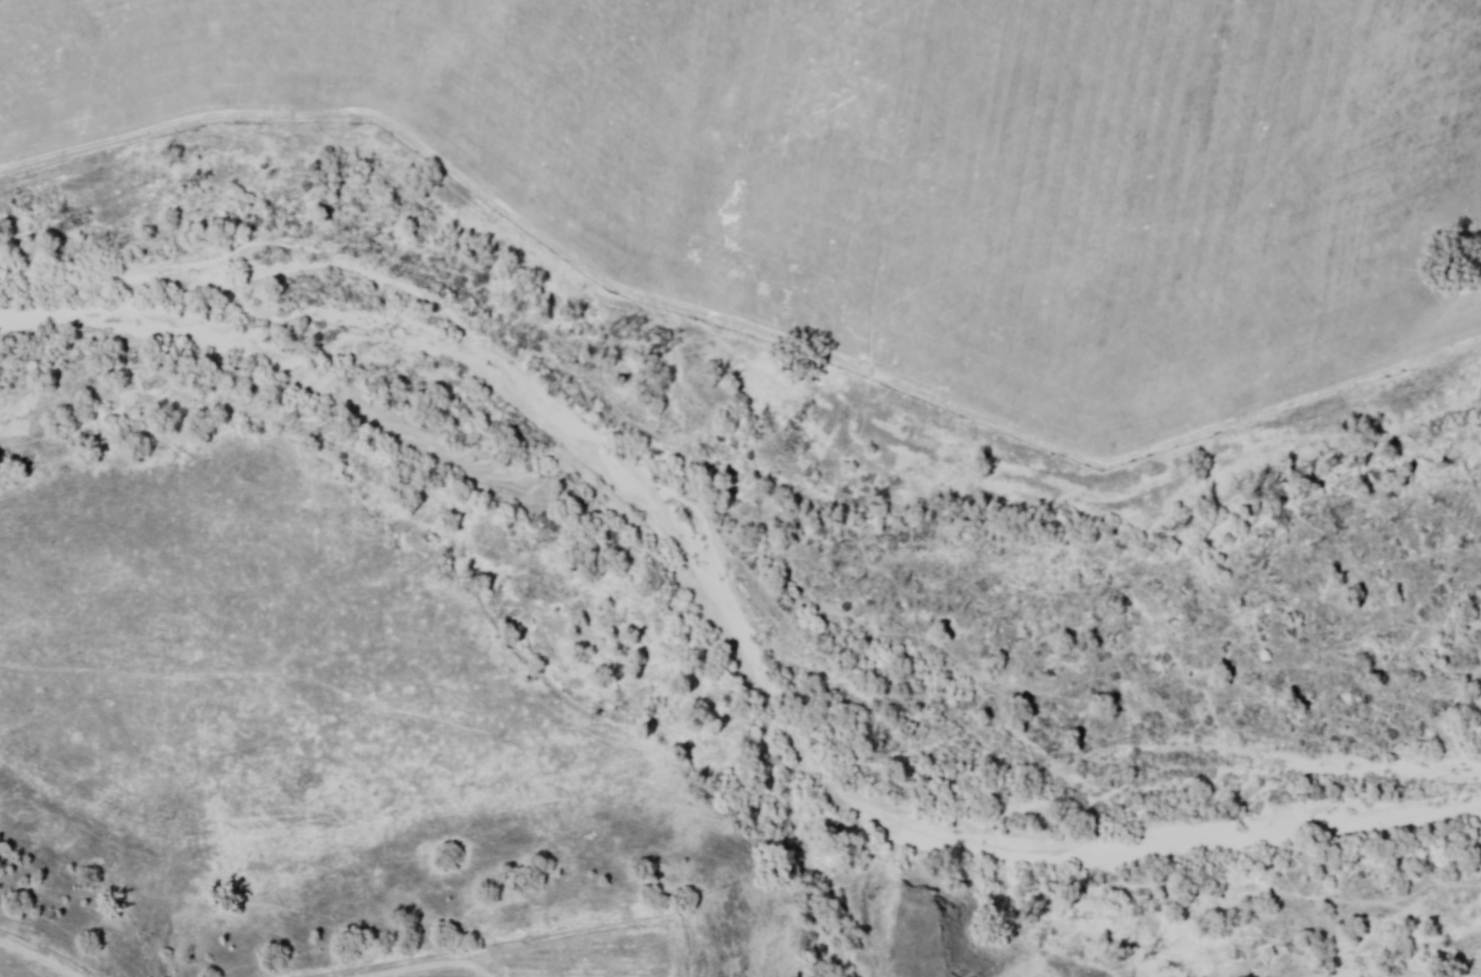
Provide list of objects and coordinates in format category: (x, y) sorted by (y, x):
crop: (908, 165)
river: (458, 461)
river: (1171, 821)
road: (38, 959)
road: (428, 966)

